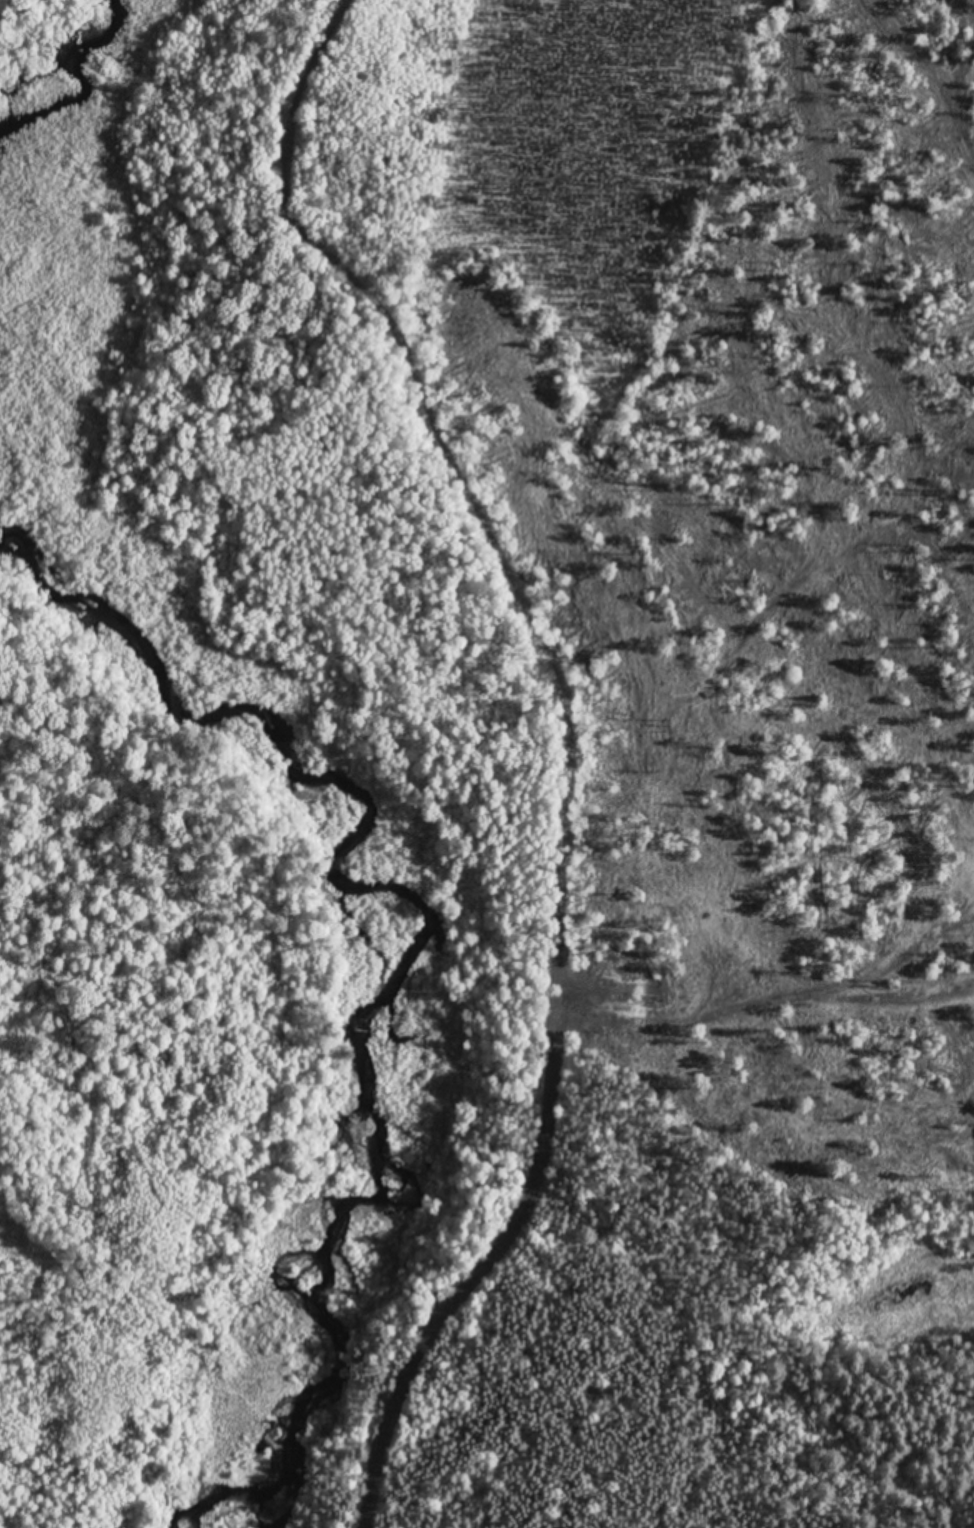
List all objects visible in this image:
road: (578, 735)

